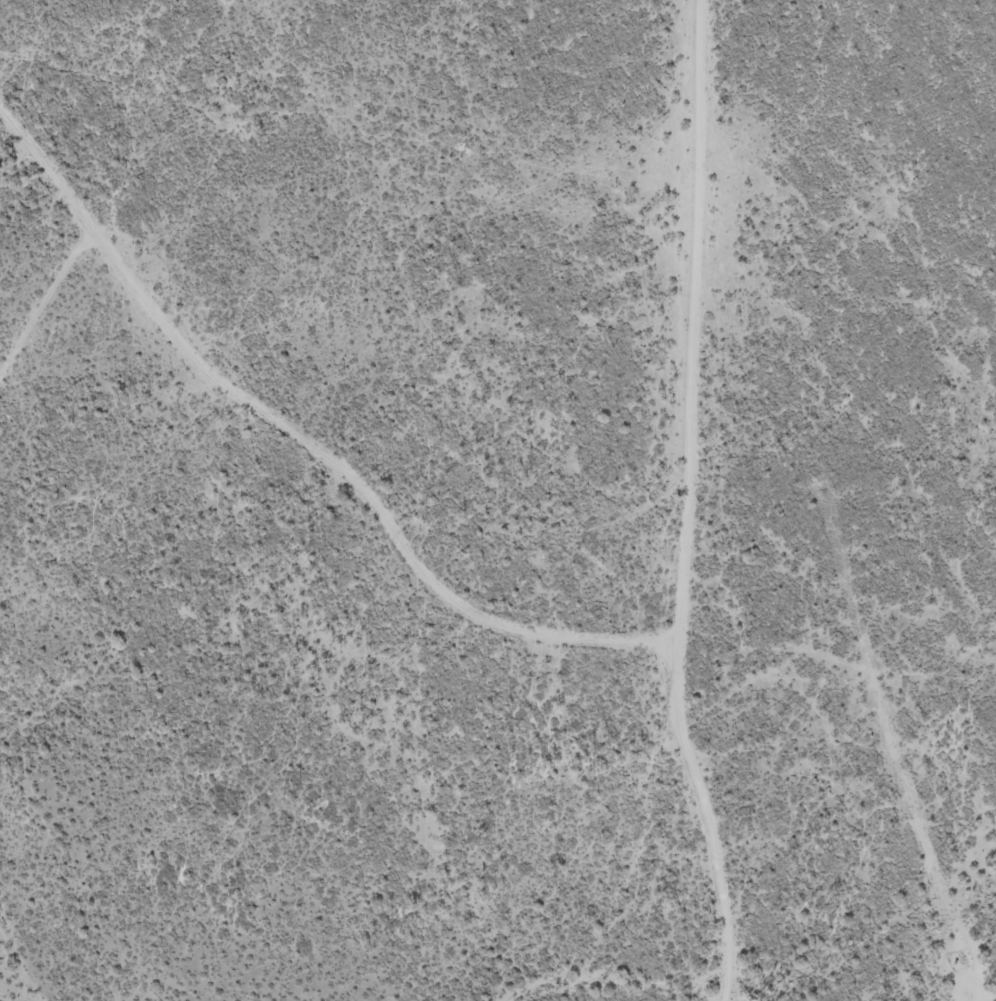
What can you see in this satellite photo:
road: (303, 431)
road: (690, 505)

